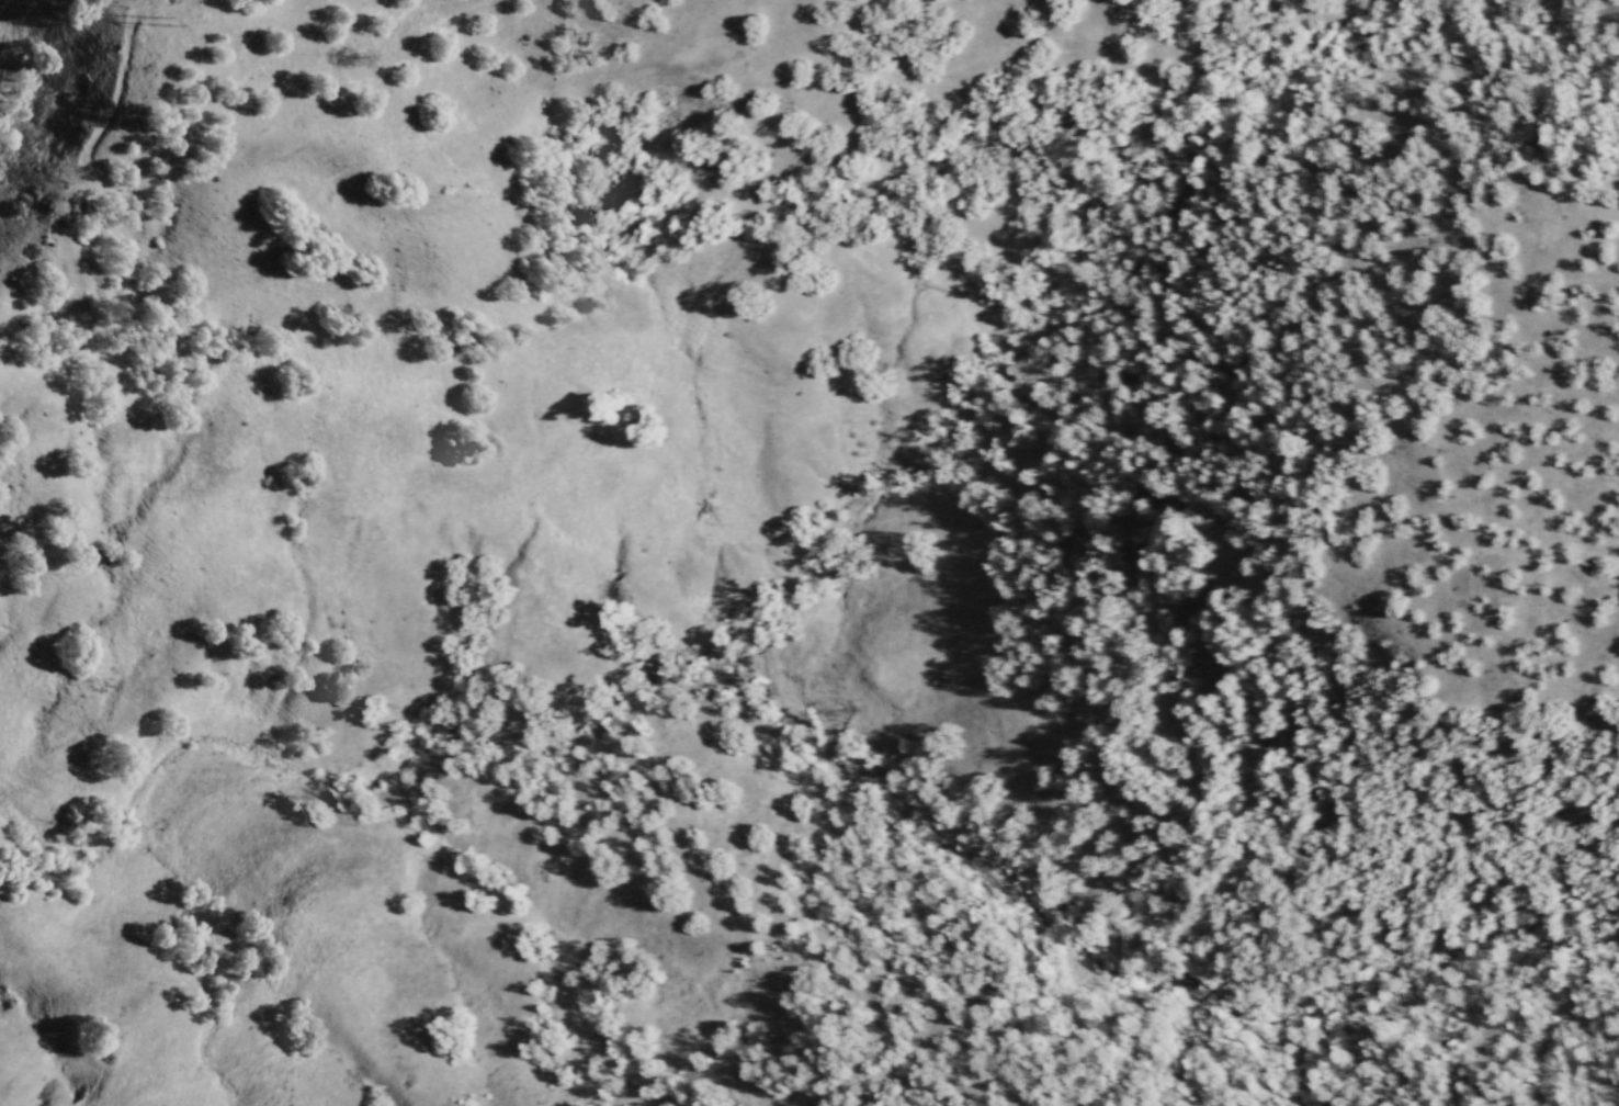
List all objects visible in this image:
power tower: (131, 3)
power tower: (165, 22)
power tower: (11, 184)
power tower: (67, 187)

